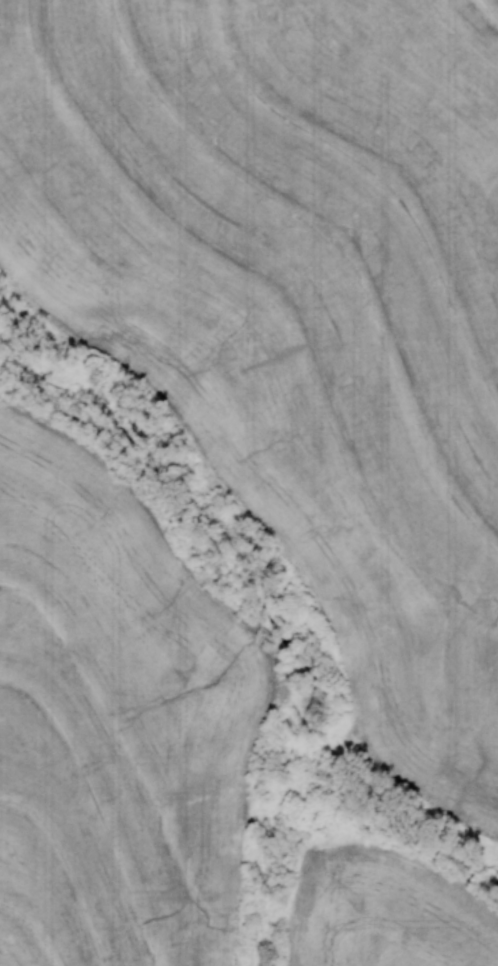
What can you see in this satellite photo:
crop: (298, 304)
crop: (114, 721)
crop: (386, 912)

